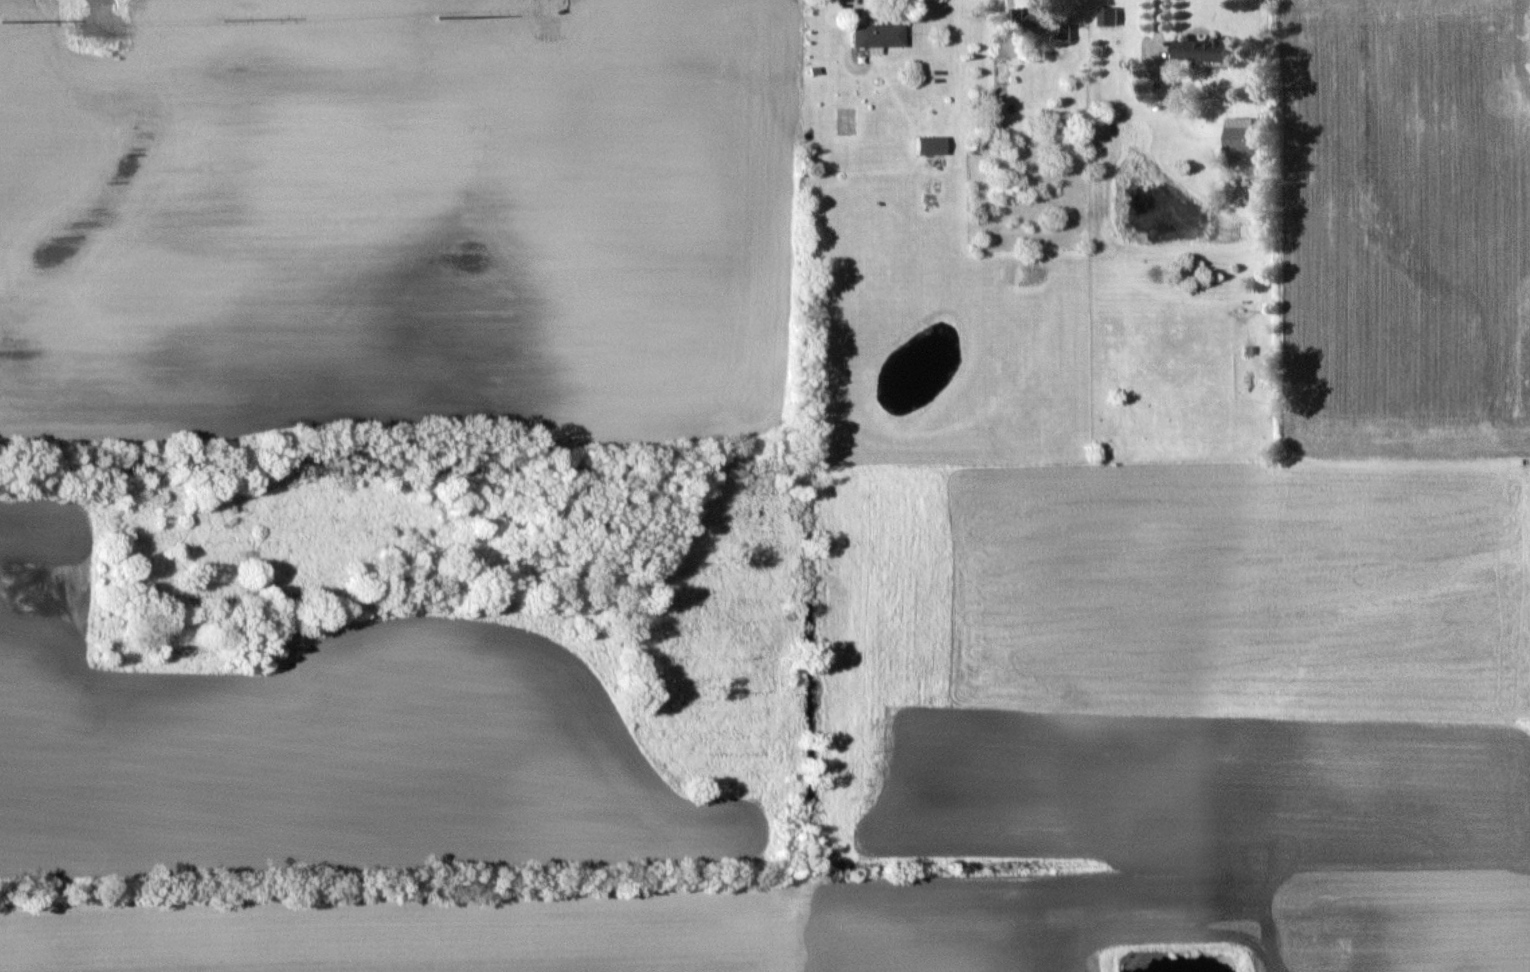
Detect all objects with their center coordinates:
building: (1107, 15)
building: (1027, 16)
building: (1201, 49)
building: (1240, 133)
building: (929, 144)

